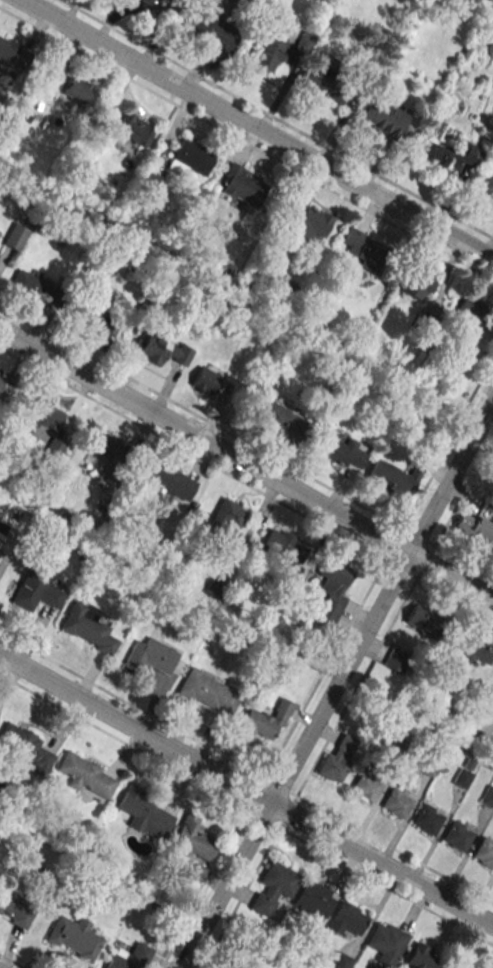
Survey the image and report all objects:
building: (157, 5)
building: (211, 31)
building: (304, 41)
building: (269, 53)
building: (12, 55)
building: (325, 85)
building: (76, 89)
building: (382, 117)
road: (277, 118)
building: (135, 129)
road: (258, 129)
road: (246, 143)
building: (451, 150)
building: (192, 157)
building: (149, 180)
building: (487, 185)
building: (242, 186)
building: (305, 223)
building: (0, 231)
building: (15, 236)
building: (365, 251)
building: (418, 282)
building: (29, 285)
building: (470, 306)
building: (88, 317)
building: (161, 350)
building: (205, 382)
building: (5, 387)
building: (44, 414)
building: (267, 415)
road: (200, 416)
building: (55, 447)
building: (107, 447)
building: (328, 450)
road: (191, 453)
road: (246, 463)
building: (396, 477)
building: (166, 481)
building: (227, 517)
building: (474, 529)
road: (432, 544)
building: (288, 554)
building: (213, 588)
building: (332, 590)
building: (36, 591)
building: (420, 618)
building: (87, 627)
building: (476, 650)
building: (150, 655)
building: (398, 660)
road: (335, 683)
building: (207, 691)
building: (266, 720)
road: (486, 728)
building: (24, 746)
building: (334, 759)
building: (429, 766)
road: (267, 770)
building: (83, 774)
building: (460, 778)
road: (259, 785)
building: (363, 785)
road: (246, 789)
building: (486, 796)
building: (393, 802)
building: (140, 811)
building: (424, 818)
road: (289, 835)
building: (454, 835)
building: (192, 838)
road: (393, 849)
building: (483, 852)
building: (194, 871)
building: (273, 888)
building: (313, 899)
building: (15, 908)
building: (346, 919)
building: (73, 938)
building: (385, 942)
building: (419, 956)
building: (129, 957)
road: (11, 961)
building: (339, 961)

